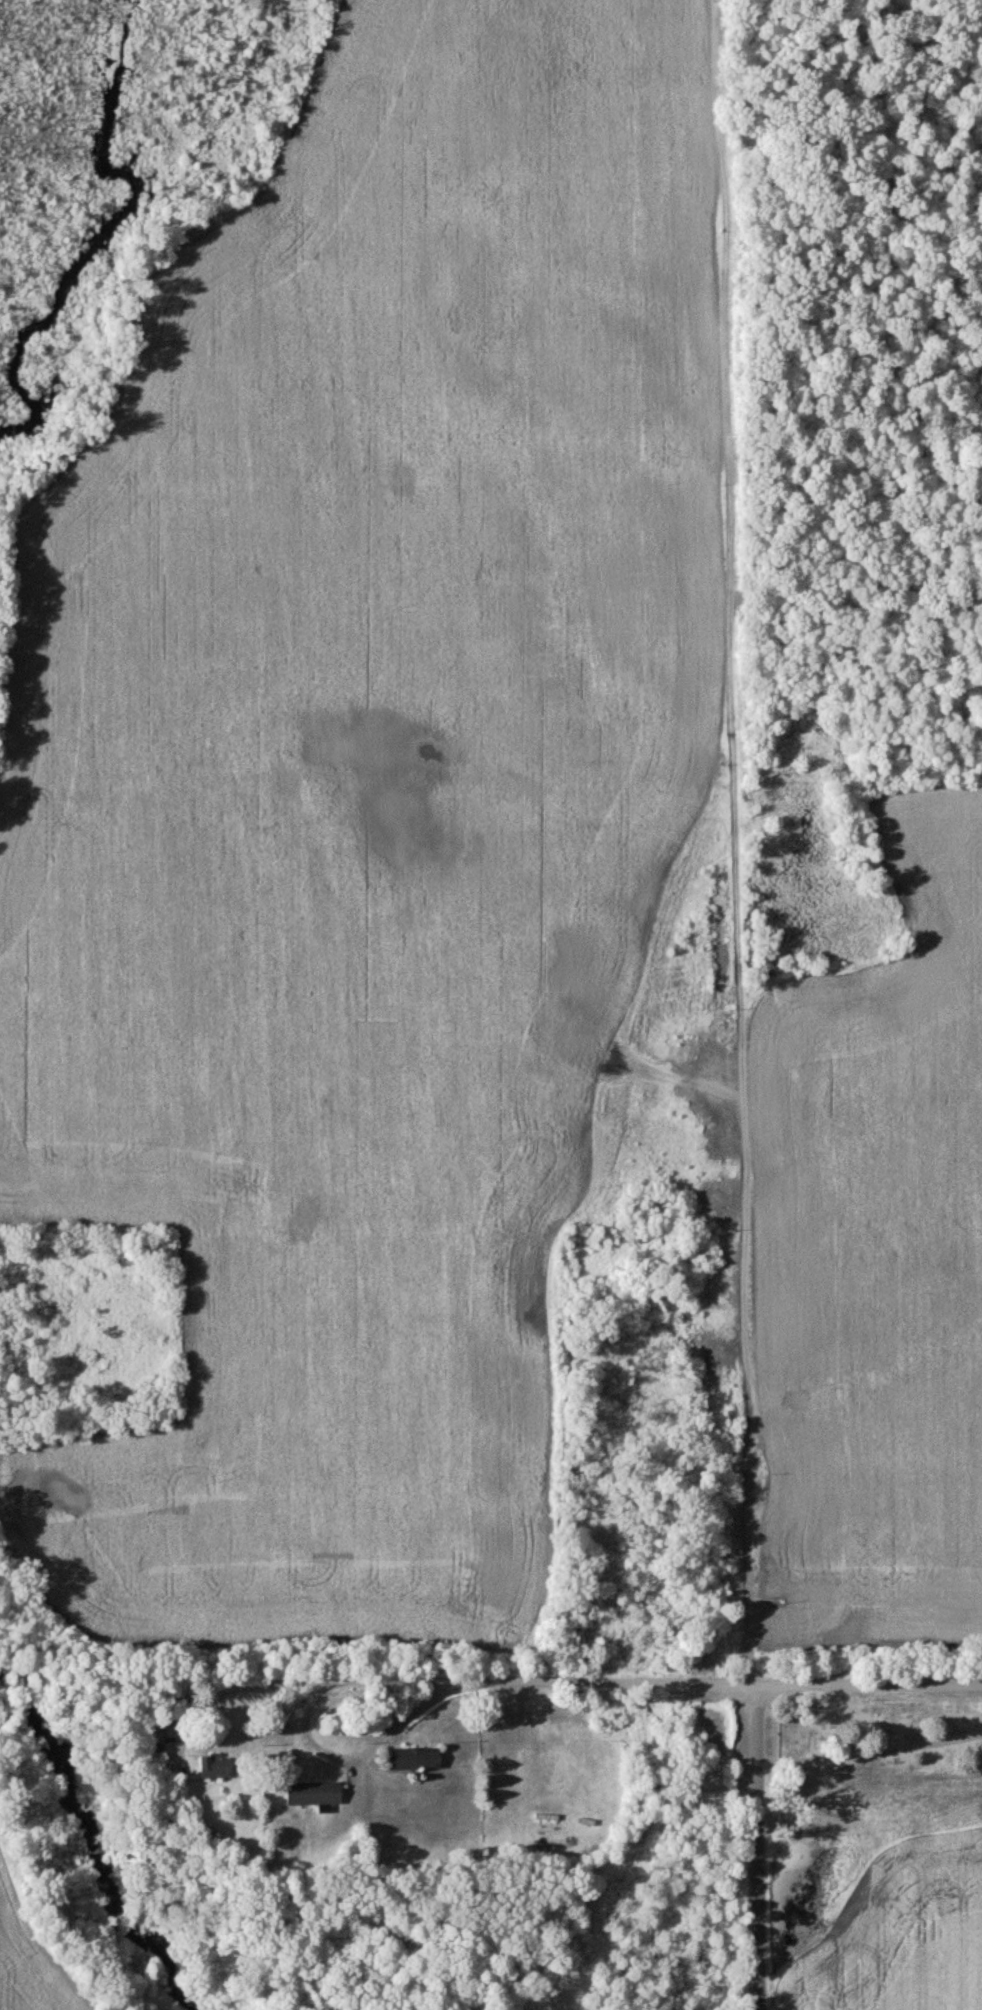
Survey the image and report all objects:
road: (560, 1681)
park: (880, 1732)
building: (157, 1738)
building: (416, 1759)
road: (355, 1766)
building: (217, 1767)
building: (316, 1794)
road: (760, 1846)

